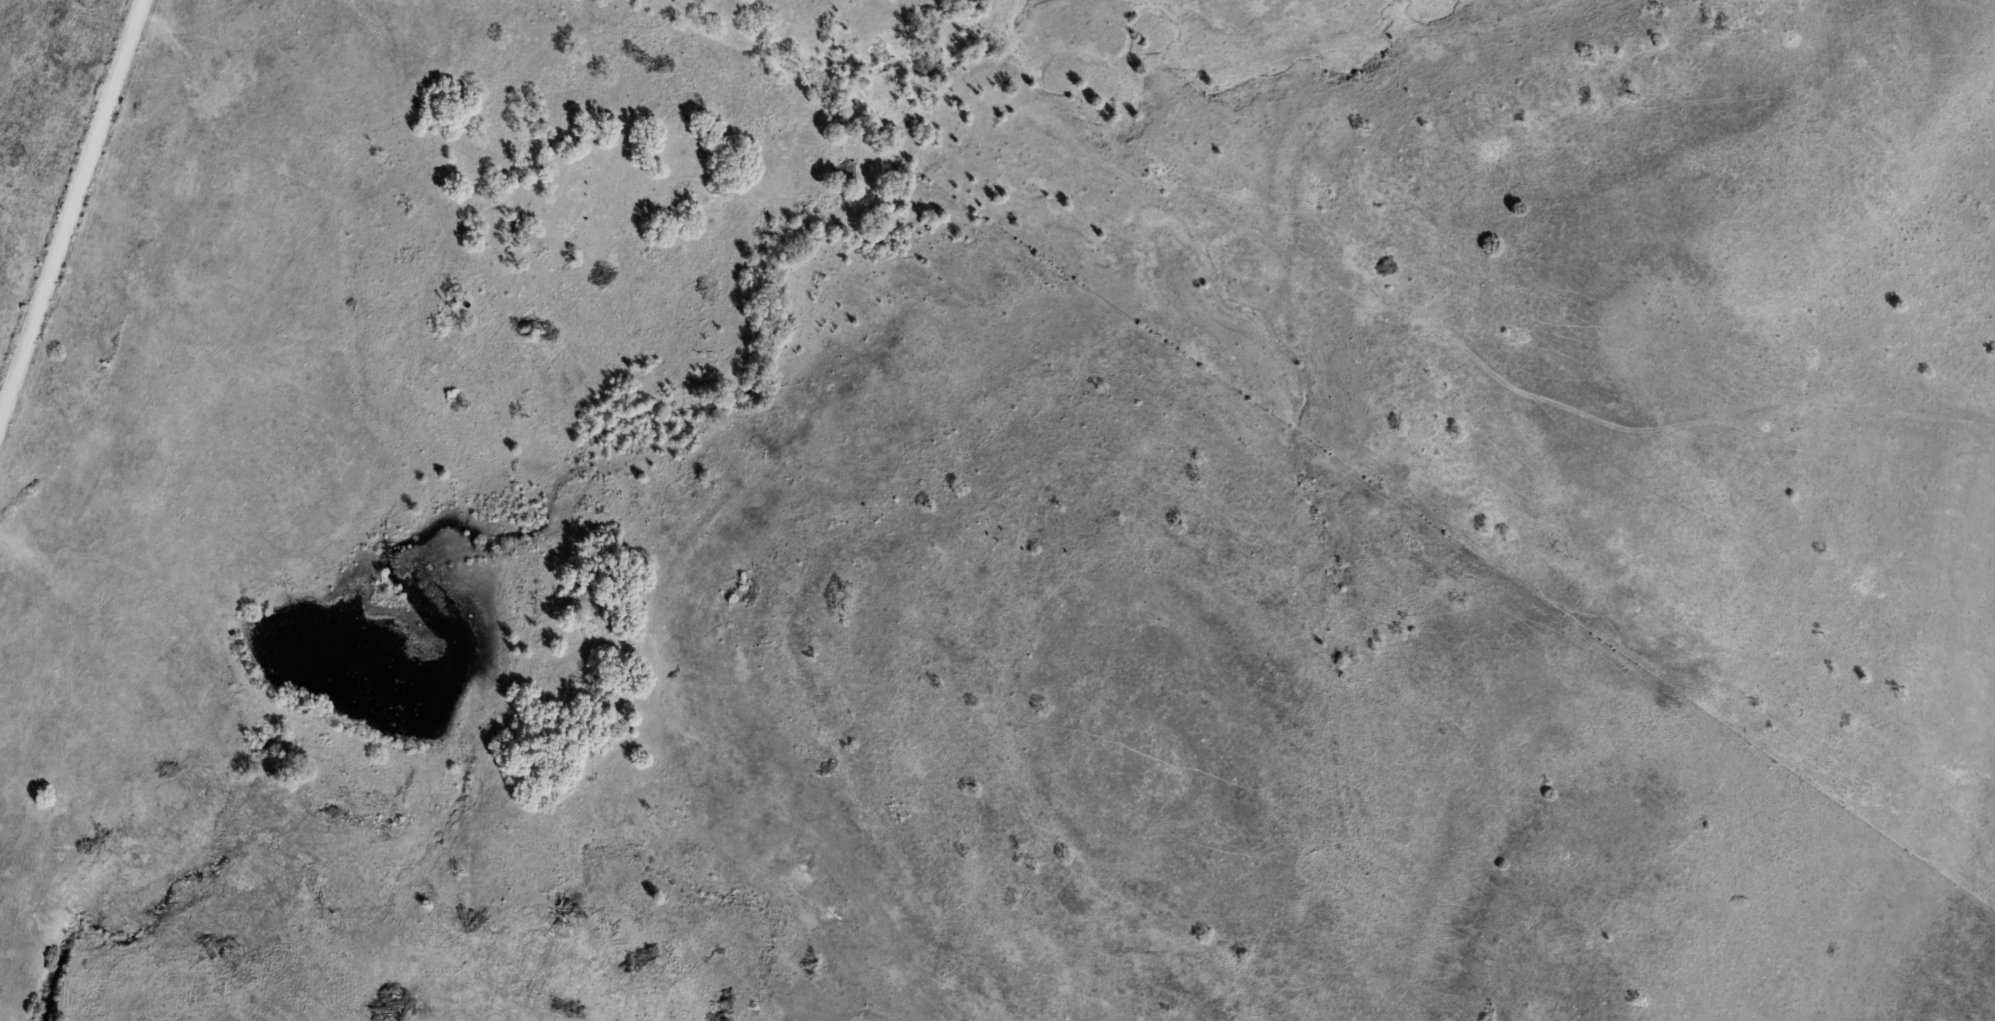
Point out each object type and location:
road: (69, 207)

